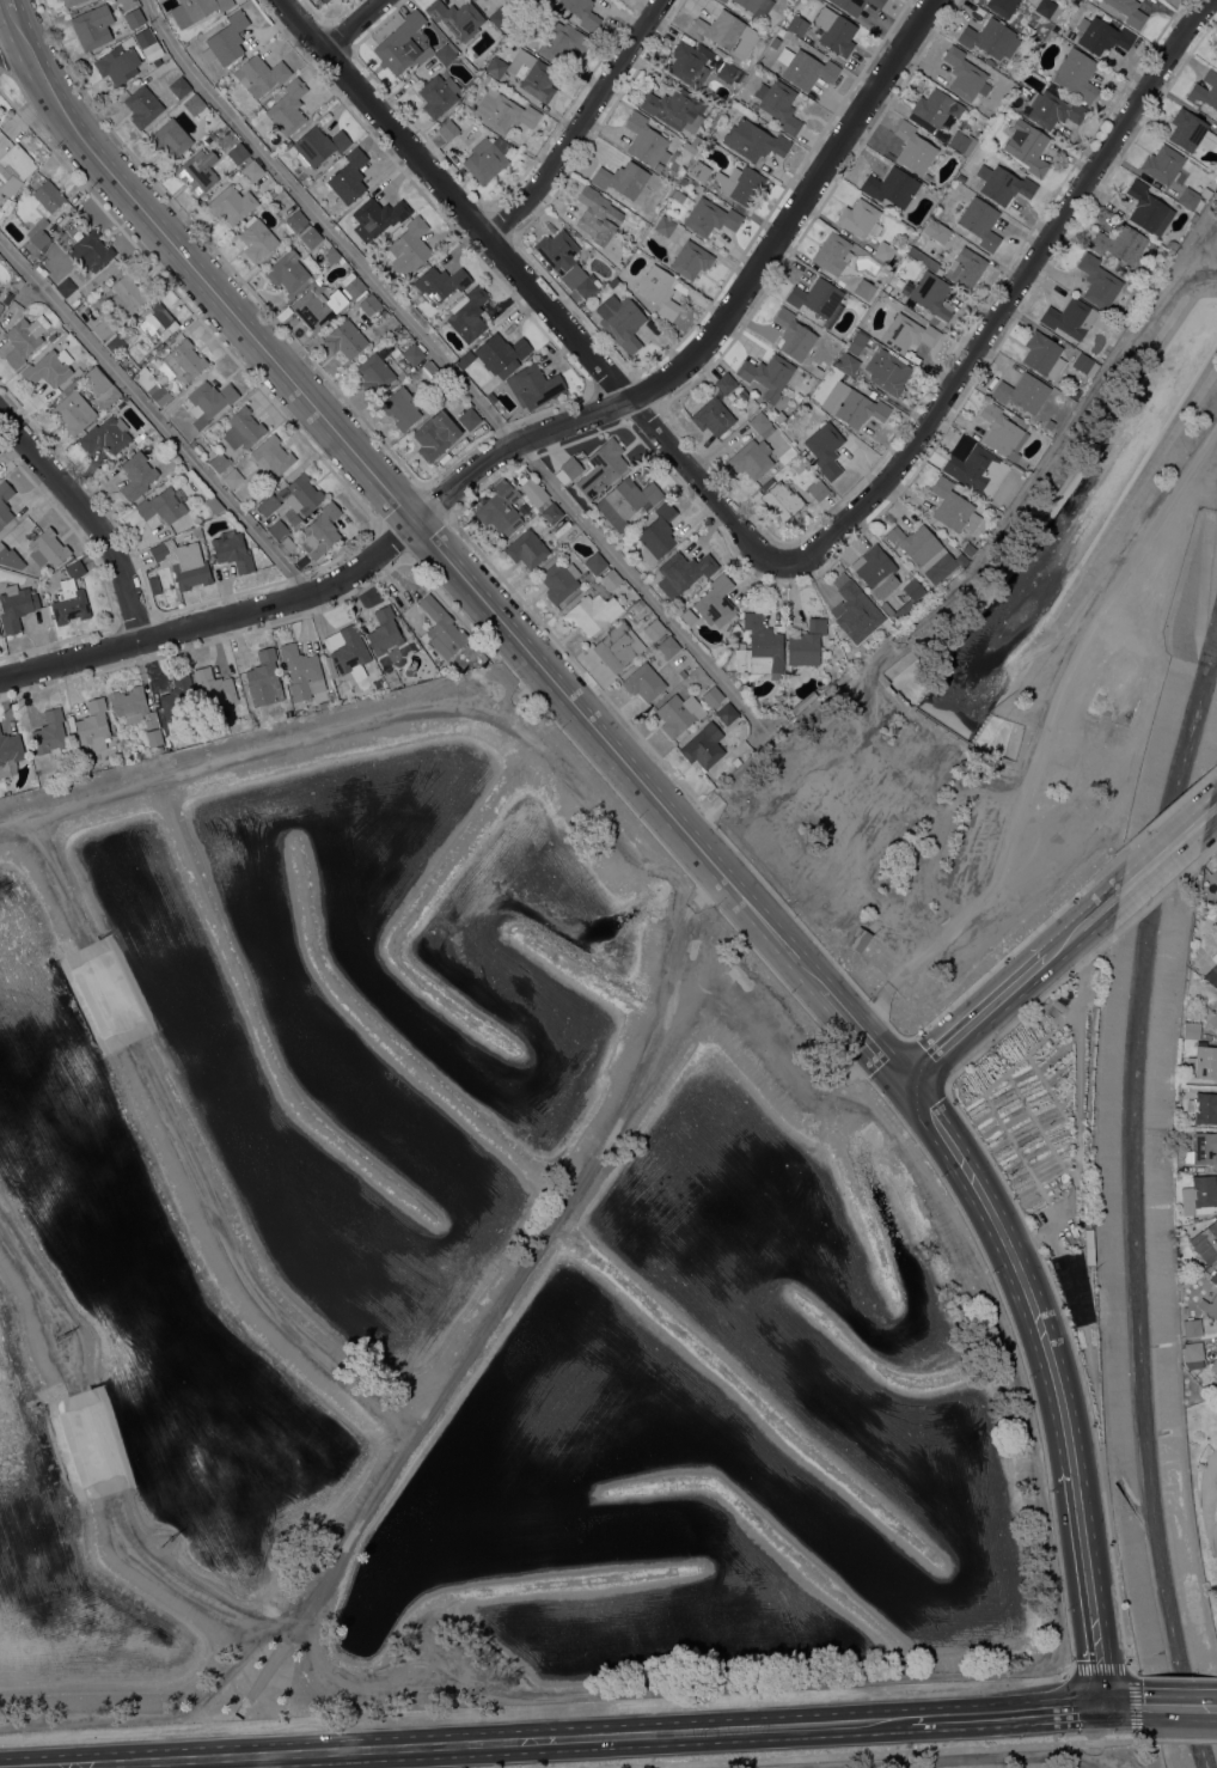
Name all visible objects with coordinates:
building: (323, 0)
building: (325, 0)
building: (721, 0)
building: (723, 0)
building: (71, 2)
building: (876, 2)
building: (850, 6)
building: (1002, 6)
building: (756, 7)
building: (1045, 7)
building: (196, 10)
building: (1129, 11)
building: (581, 12)
building: (134, 17)
building: (499, 17)
building: (457, 18)
building: (797, 25)
building: (92, 26)
road: (354, 26)
building: (781, 31)
building: (833, 31)
building: (726, 32)
building: (1101, 36)
building: (990, 37)
building: (225, 39)
building: (557, 39)
building: (773, 42)
building: (148, 43)
building: (402, 44)
building: (1216, 48)
building: (446, 53)
building: (118, 61)
building: (429, 61)
building: (689, 63)
building: (496, 67)
road: (39, 68)
building: (805, 68)
road: (25, 69)
building: (728, 73)
building: (259, 74)
building: (532, 74)
building: (965, 74)
building: (1075, 74)
building: (181, 87)
building: (1204, 90)
building: (438, 95)
building: (778, 104)
building: (142, 105)
building: (195, 105)
building: (936, 106)
building: (287, 108)
building: (675, 108)
building: (1052, 109)
building: (502, 111)
road: (580, 123)
building: (447, 129)
building: (1190, 130)
building: (170, 138)
building: (646, 140)
building: (753, 140)
building: (696, 141)
building: (962, 141)
building: (318, 145)
building: (1027, 146)
building: (689, 147)
building: (913, 147)
building: (238, 153)
building: (487, 158)
building: (17, 160)
building: (1161, 164)
building: (252, 170)
building: (699, 170)
building: (198, 171)
building: (348, 176)
building: (622, 178)
building: (683, 181)
building: (740, 183)
building: (1002, 184)
building: (19, 187)
building: (891, 187)
building: (677, 194)
building: (1192, 196)
building: (48, 197)
building: (231, 203)
building: (1146, 208)
road: (793, 211)
building: (597, 214)
building: (377, 217)
building: (710, 217)
building: (860, 218)
building: (1191, 219)
building: (978, 220)
building: (296, 221)
building: (663, 225)
building: (935, 230)
building: (38, 236)
building: (310, 236)
building: (257, 240)
building: (1119, 243)
building: (1169, 244)
building: (409, 246)
building: (557, 249)
building: (91, 250)
building: (832, 252)
building: (885, 252)
building: (331, 254)
building: (371, 256)
building: (690, 258)
building: (924, 258)
building: (965, 267)
building: (289, 268)
building: (41, 270)
building: (1097, 281)
building: (439, 282)
building: (587, 285)
building: (66, 286)
building: (355, 287)
road: (531, 287)
building: (864, 288)
building: (660, 289)
building: (128, 293)
road: (1009, 294)
building: (931, 295)
building: (815, 297)
building: (6, 301)
building: (317, 304)
building: (369, 304)
building: (1, 306)
building: (467, 313)
building: (1071, 317)
building: (155, 321)
building: (620, 321)
building: (112, 322)
building: (102, 328)
building: (907, 333)
building: (793, 334)
building: (51, 336)
building: (24, 339)
building: (345, 339)
building: (856, 342)
building: (115, 343)
building: (133, 352)
building: (501, 353)
building: (412, 354)
building: (1041, 354)
building: (184, 360)
building: (846, 362)
building: (1083, 364)
road: (448, 366)
building: (48, 368)
building: (886, 370)
building: (427, 371)
building: (373, 373)
building: (767, 374)
building: (724, 383)
building: (534, 385)
building: (100, 386)
building: (863, 389)
building: (1022, 391)
building: (742, 392)
building: (158, 394)
building: (209, 401)
building: (400, 408)
building: (806, 408)
building: (858, 408)
building: (73, 410)
building: (799, 414)
road: (154, 415)
building: (713, 416)
building: (469, 417)
building: (760, 423)
building: (1047, 423)
building: (243, 428)
building: (1002, 431)
building: (152, 433)
building: (105, 434)
building: (435, 434)
building: (139, 437)
road: (512, 444)
building: (825, 449)
building: (270, 456)
building: (751, 458)
building: (219, 461)
building: (970, 465)
building: (601, 468)
building: (568, 469)
building: (136, 475)
building: (232, 477)
building: (818, 488)
building: (536, 493)
building: (302, 494)
building: (782, 500)
building: (5, 501)
building: (625, 501)
building: (213, 504)
building: (161, 505)
building: (268, 505)
building: (952, 506)
building: (500, 508)
building: (551, 512)
road: (91, 516)
building: (277, 529)
building: (320, 531)
building: (658, 534)
building: (287, 544)
building: (915, 544)
building: (47, 548)
building: (526, 548)
building: (967, 549)
building: (2, 550)
building: (232, 550)
building: (183, 562)
building: (595, 562)
building: (875, 571)
building: (683, 572)
building: (610, 579)
building: (558, 580)
building: (69, 596)
building: (910, 600)
building: (715, 602)
building: (16, 605)
building: (637, 605)
building: (854, 609)
building: (592, 612)
building: (687, 616)
road: (216, 618)
building: (440, 628)
building: (654, 629)
building: (384, 630)
building: (806, 642)
building: (618, 645)
building: (668, 646)
building: (759, 647)
building: (728, 648)
building: (345, 652)
building: (723, 658)
building: (301, 671)
building: (264, 678)
building: (643, 682)
building: (215, 689)
building: (177, 696)
building: (713, 696)
building: (129, 702)
building: (323, 703)
building: (799, 705)
building: (679, 713)
building: (727, 713)
building: (93, 725)
building: (50, 733)
building: (153, 737)
building: (169, 745)
building: (703, 745)
building: (159, 748)
building: (10, 752)
road: (631, 768)
road: (1213, 810)
road: (704, 815)
road: (1166, 852)
building: (1213, 873)
road: (1085, 921)
building: (858, 939)
building: (1215, 961)
building: (1211, 975)
road: (874, 1006)
building: (1210, 1016)
road: (977, 1017)
building: (1190, 1029)
building: (1203, 1061)
building: (1203, 1108)
building: (1201, 1147)
building: (1198, 1195)
building: (1185, 1229)
building: (1205, 1242)
road: (1172, 1261)
building: (1215, 1273)
building: (1211, 1280)
road: (500, 1300)
building: (1209, 1307)
building: (1216, 1322)
building: (1191, 1327)
power tower: (61, 1340)
building: (1192, 1354)
building: (1213, 1365)
power tower: (165, 1543)
road: (1089, 1586)
road: (1130, 1673)
road: (1182, 1706)
traffic signals: (1106, 1707)
road: (1127, 1707)
road: (534, 1709)
road: (1009, 1713)
road: (1187, 1738)
road: (464, 1743)
road: (885, 1752)
road: (971, 1758)

